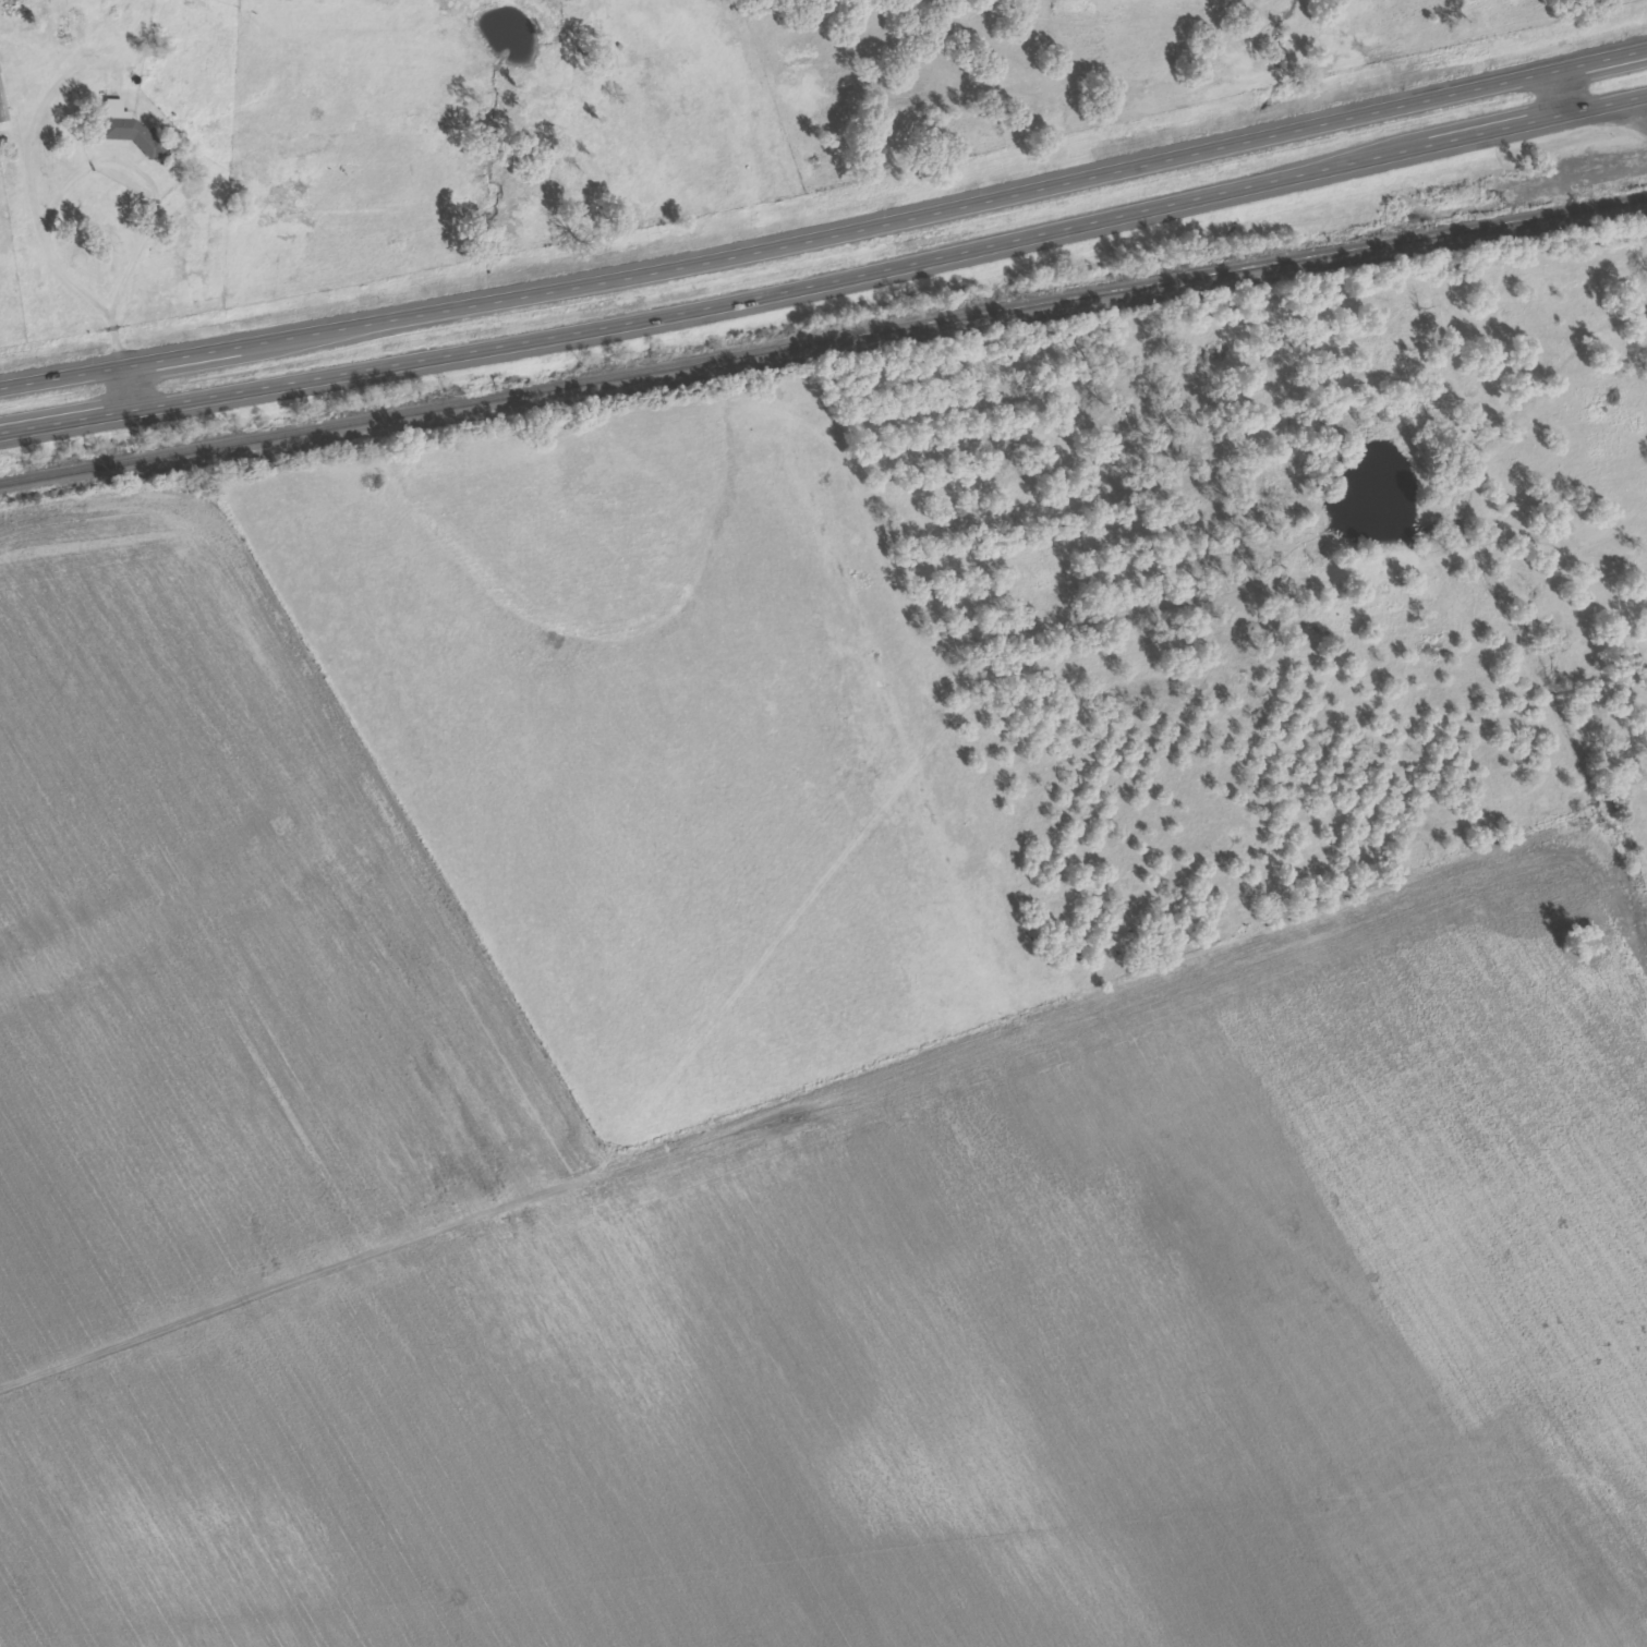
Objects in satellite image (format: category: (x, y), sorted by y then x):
building: (0, 70)
road: (1557, 94)
road: (731, 116)
road: (26, 152)
road: (143, 208)
road: (825, 230)
road: (826, 282)
railway: (823, 341)
road: (848, 1067)

